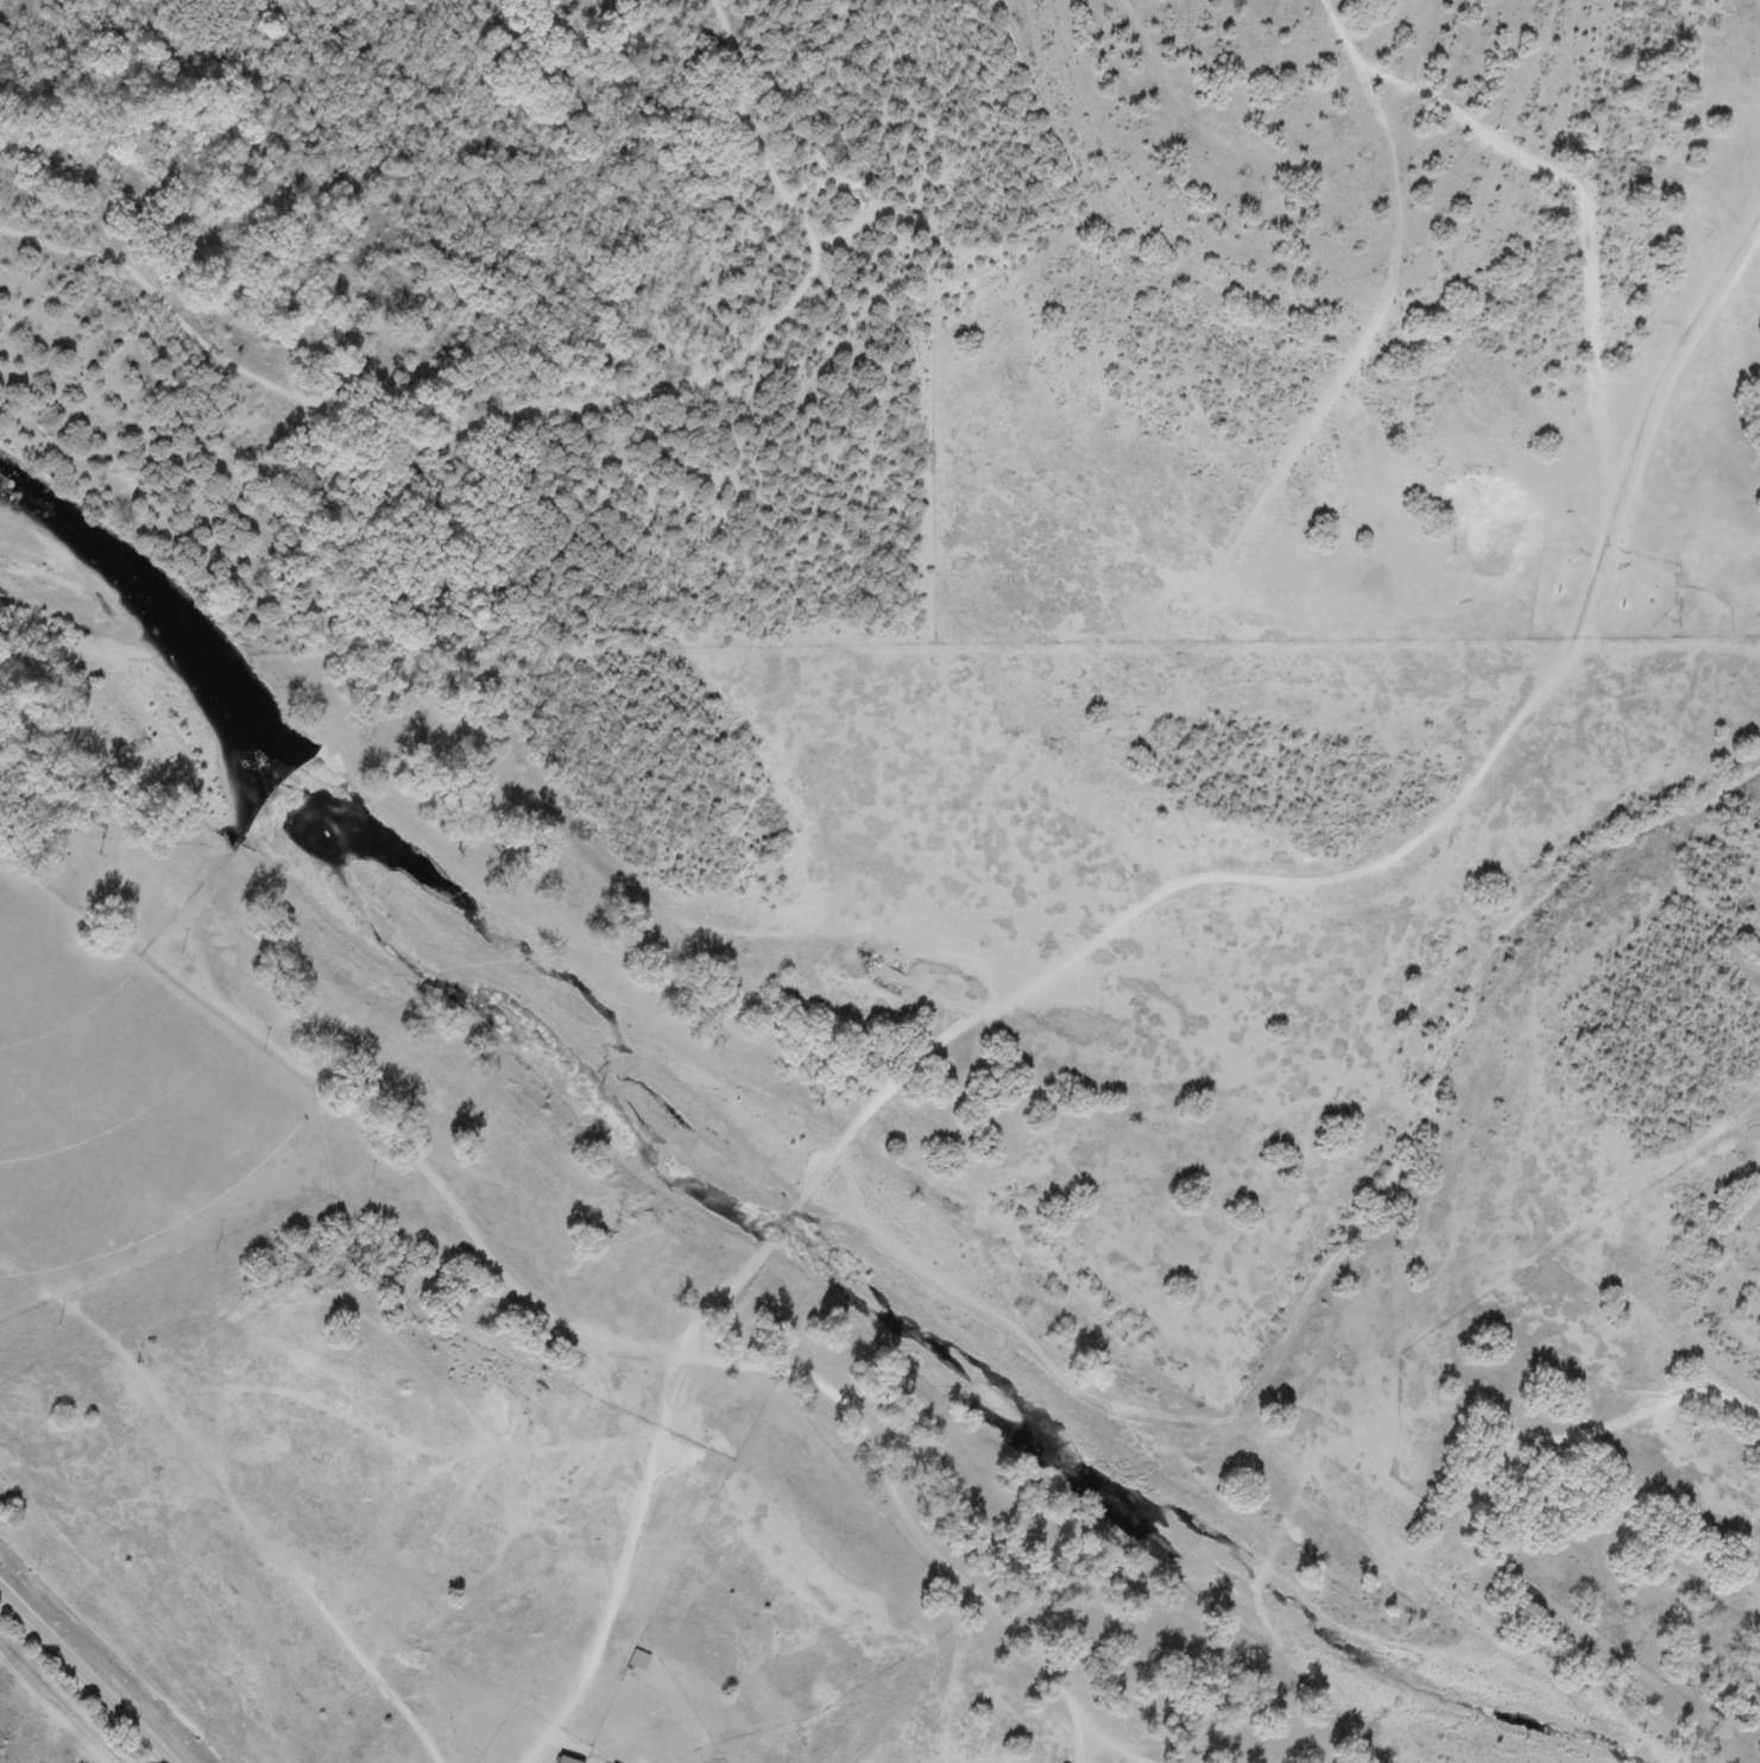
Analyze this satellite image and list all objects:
building: (641, 1660)
road: (88, 1673)
building: (566, 1761)

